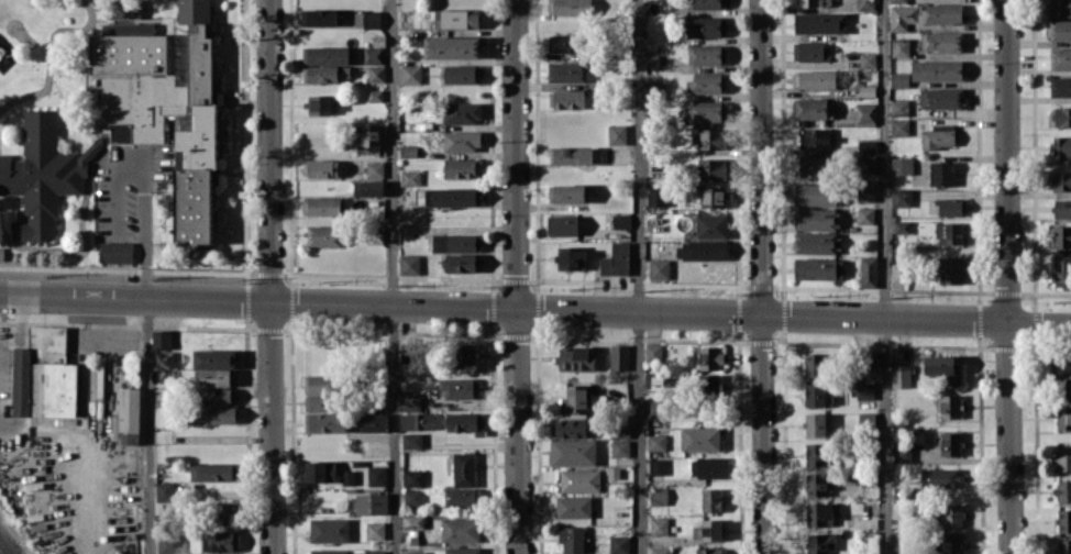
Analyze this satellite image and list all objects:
building: (897, 0)
building: (813, 2)
building: (709, 3)
building: (568, 7)
building: (1058, 8)
building: (124, 9)
building: (924, 14)
building: (318, 16)
building: (366, 19)
building: (456, 19)
building: (819, 22)
building: (706, 26)
building: (1060, 30)
building: (940, 41)
building: (564, 43)
building: (452, 47)
building: (899, 47)
building: (810, 51)
building: (707, 54)
building: (325, 55)
building: (372, 55)
building: (1060, 58)
building: (866, 59)
building: (936, 69)
building: (566, 71)
building: (325, 74)
building: (375, 74)
building: (410, 74)
building: (461, 74)
building: (814, 78)
building: (898, 79)
building: (704, 84)
building: (1060, 87)
building: (375, 95)
building: (941, 98)
building: (566, 99)
building: (319, 104)
building: (163, 107)
building: (898, 107)
building: (811, 108)
building: (707, 111)
building: (462, 112)
building: (865, 113)
building: (1059, 117)
building: (899, 126)
building: (616, 134)
building: (938, 136)
building: (367, 137)
building: (813, 137)
building: (710, 138)
building: (462, 141)
building: (866, 146)
building: (1061, 146)
road: (268, 151)
building: (408, 151)
road: (515, 154)
building: (571, 155)
road: (761, 157)
road: (1007, 160)
building: (865, 164)
building: (809, 165)
building: (901, 165)
building: (320, 167)
building: (462, 168)
building: (710, 168)
building: (375, 169)
building: (941, 173)
building: (43, 174)
building: (409, 177)
building: (1061, 180)
building: (566, 192)
building: (865, 192)
building: (815, 193)
building: (452, 196)
building: (656, 196)
building: (713, 197)
building: (902, 197)
building: (321, 206)
building: (949, 207)
building: (1062, 209)
building: (864, 215)
building: (817, 219)
building: (621, 221)
building: (563, 224)
building: (711, 225)
building: (902, 226)
building: (949, 232)
building: (325, 235)
building: (1060, 235)
building: (455, 242)
building: (816, 242)
building: (704, 250)
building: (115, 252)
building: (1, 253)
building: (571, 258)
building: (616, 259)
building: (463, 263)
building: (408, 264)
building: (659, 268)
building: (818, 268)
building: (951, 269)
building: (868, 270)
building: (1062, 270)
building: (899, 272)
road: (391, 277)
road: (639, 277)
road: (884, 277)
road: (503, 308)
road: (1039, 322)
building: (161, 339)
building: (405, 348)
road: (146, 350)
building: (653, 352)
building: (463, 353)
building: (618, 356)
building: (709, 357)
building: (164, 358)
building: (576, 358)
building: (1062, 362)
building: (814, 364)
building: (213, 367)
building: (941, 368)
building: (44, 375)
building: (901, 376)
building: (708, 383)
building: (459, 387)
building: (1063, 389)
building: (864, 390)
building: (323, 392)
building: (814, 394)
building: (216, 396)
building: (574, 398)
building: (410, 400)
building: (948, 406)
building: (658, 408)
building: (128, 412)
building: (1063, 418)
building: (865, 420)
building: (417, 421)
road: (7, 422)
building: (327, 422)
building: (465, 422)
building: (815, 424)
road: (270, 428)
building: (567, 428)
building: (620, 430)
road: (517, 431)
road: (763, 434)
road: (1008, 437)
building: (700, 439)
building: (411, 440)
building: (656, 442)
building: (950, 443)
building: (619, 447)
building: (572, 452)
building: (902, 452)
building: (816, 454)
building: (1063, 458)
building: (656, 466)
building: (709, 467)
building: (463, 468)
building: (216, 472)
building: (320, 472)
building: (376, 476)
building: (347, 477)
building: (412, 478)
building: (938, 478)
building: (579, 479)
building: (817, 484)
building: (1063, 490)
building: (162, 491)
building: (412, 496)
building: (462, 496)
building: (659, 496)
building: (710, 499)
building: (371, 503)
building: (573, 506)
building: (222, 512)
building: (820, 513)
building: (951, 514)
building: (1064, 520)
building: (412, 521)
building: (659, 525)
building: (460, 529)
building: (329, 530)
building: (374, 530)
building: (707, 530)
building: (571, 538)
building: (222, 541)
building: (819, 542)
building: (951, 543)
building: (619, 544)
building: (1064, 546)
railway: (2, 550)
building: (462, 550)
building: (660, 550)
building: (328, 551)
building: (708, 551)
building: (374, 552)
building: (415, 552)

